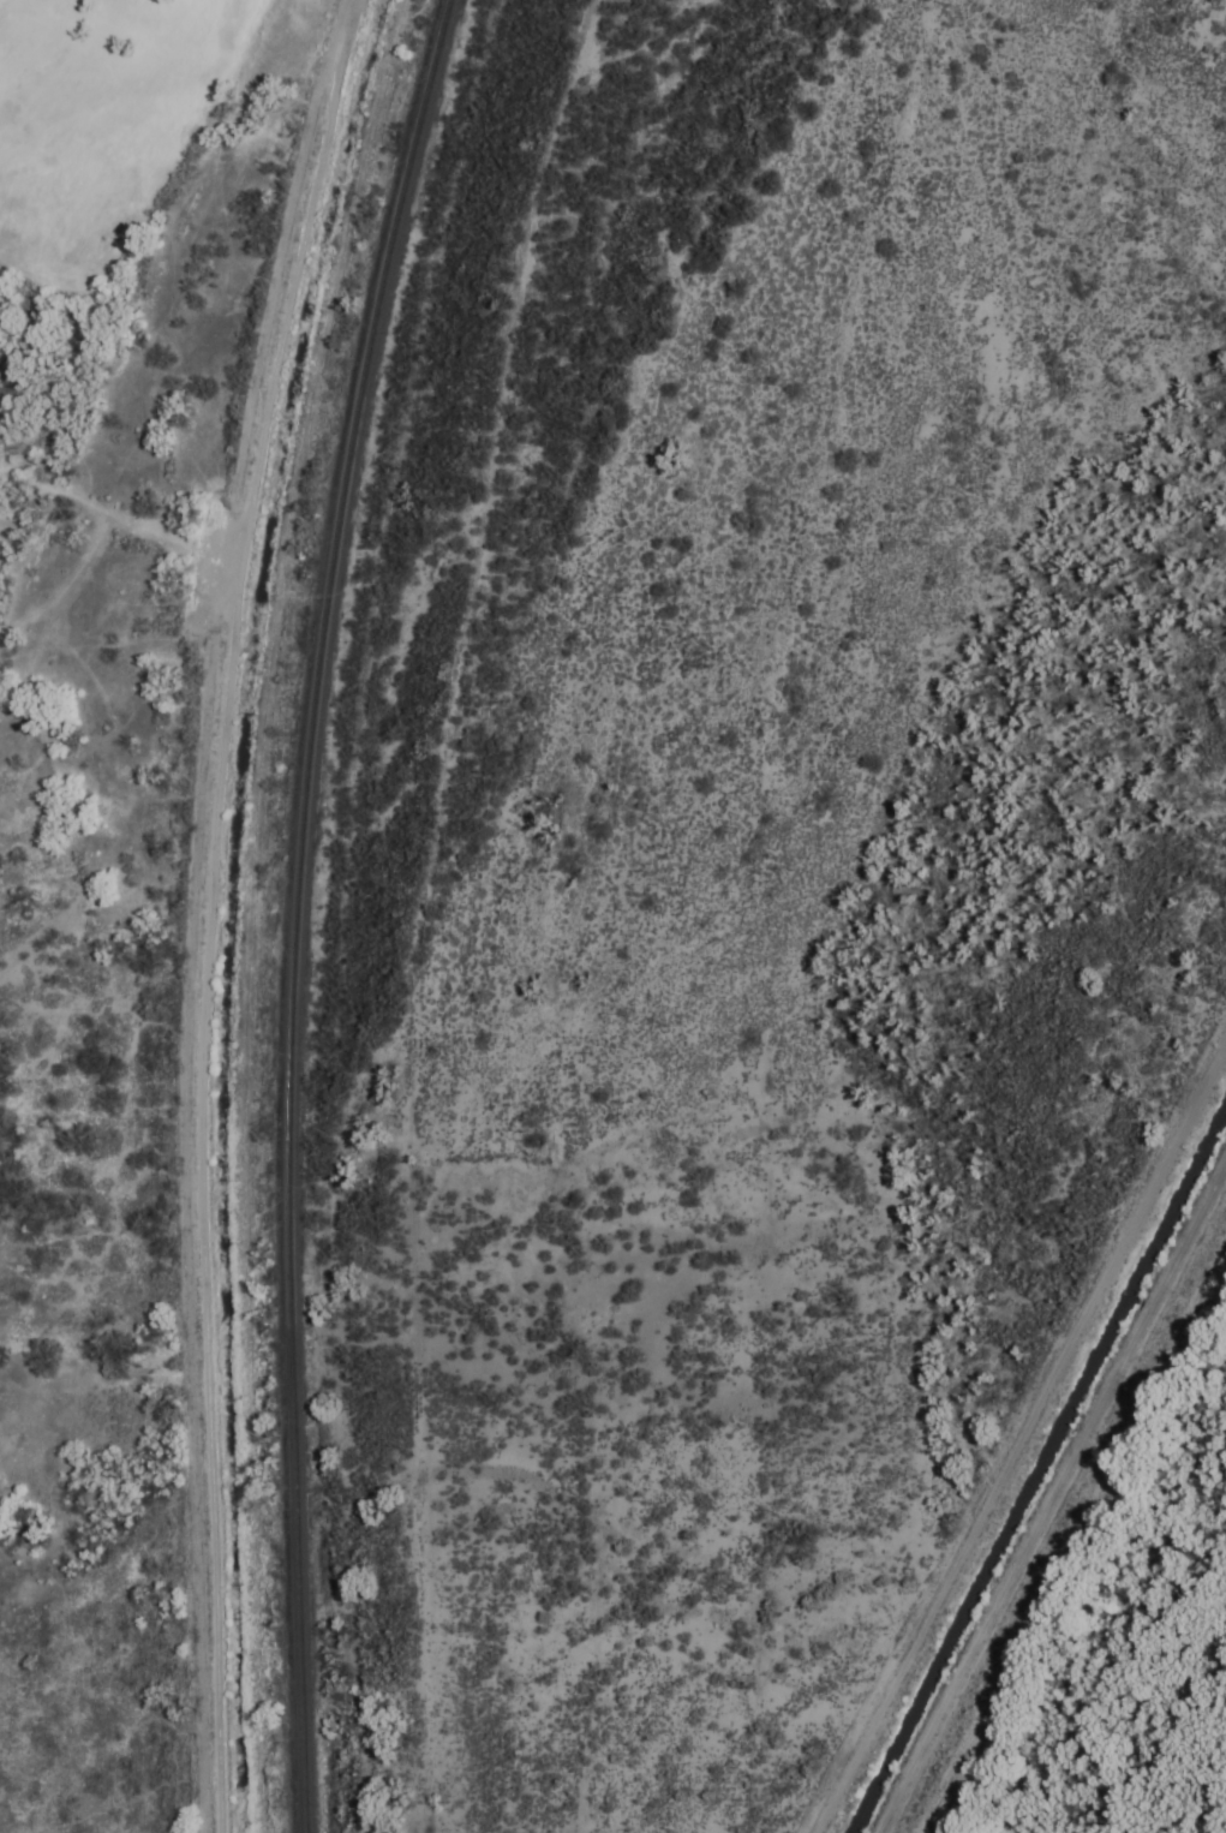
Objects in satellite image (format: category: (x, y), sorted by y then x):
road: (184, 906)
road: (357, 906)
road: (472, 906)
railway: (303, 909)

